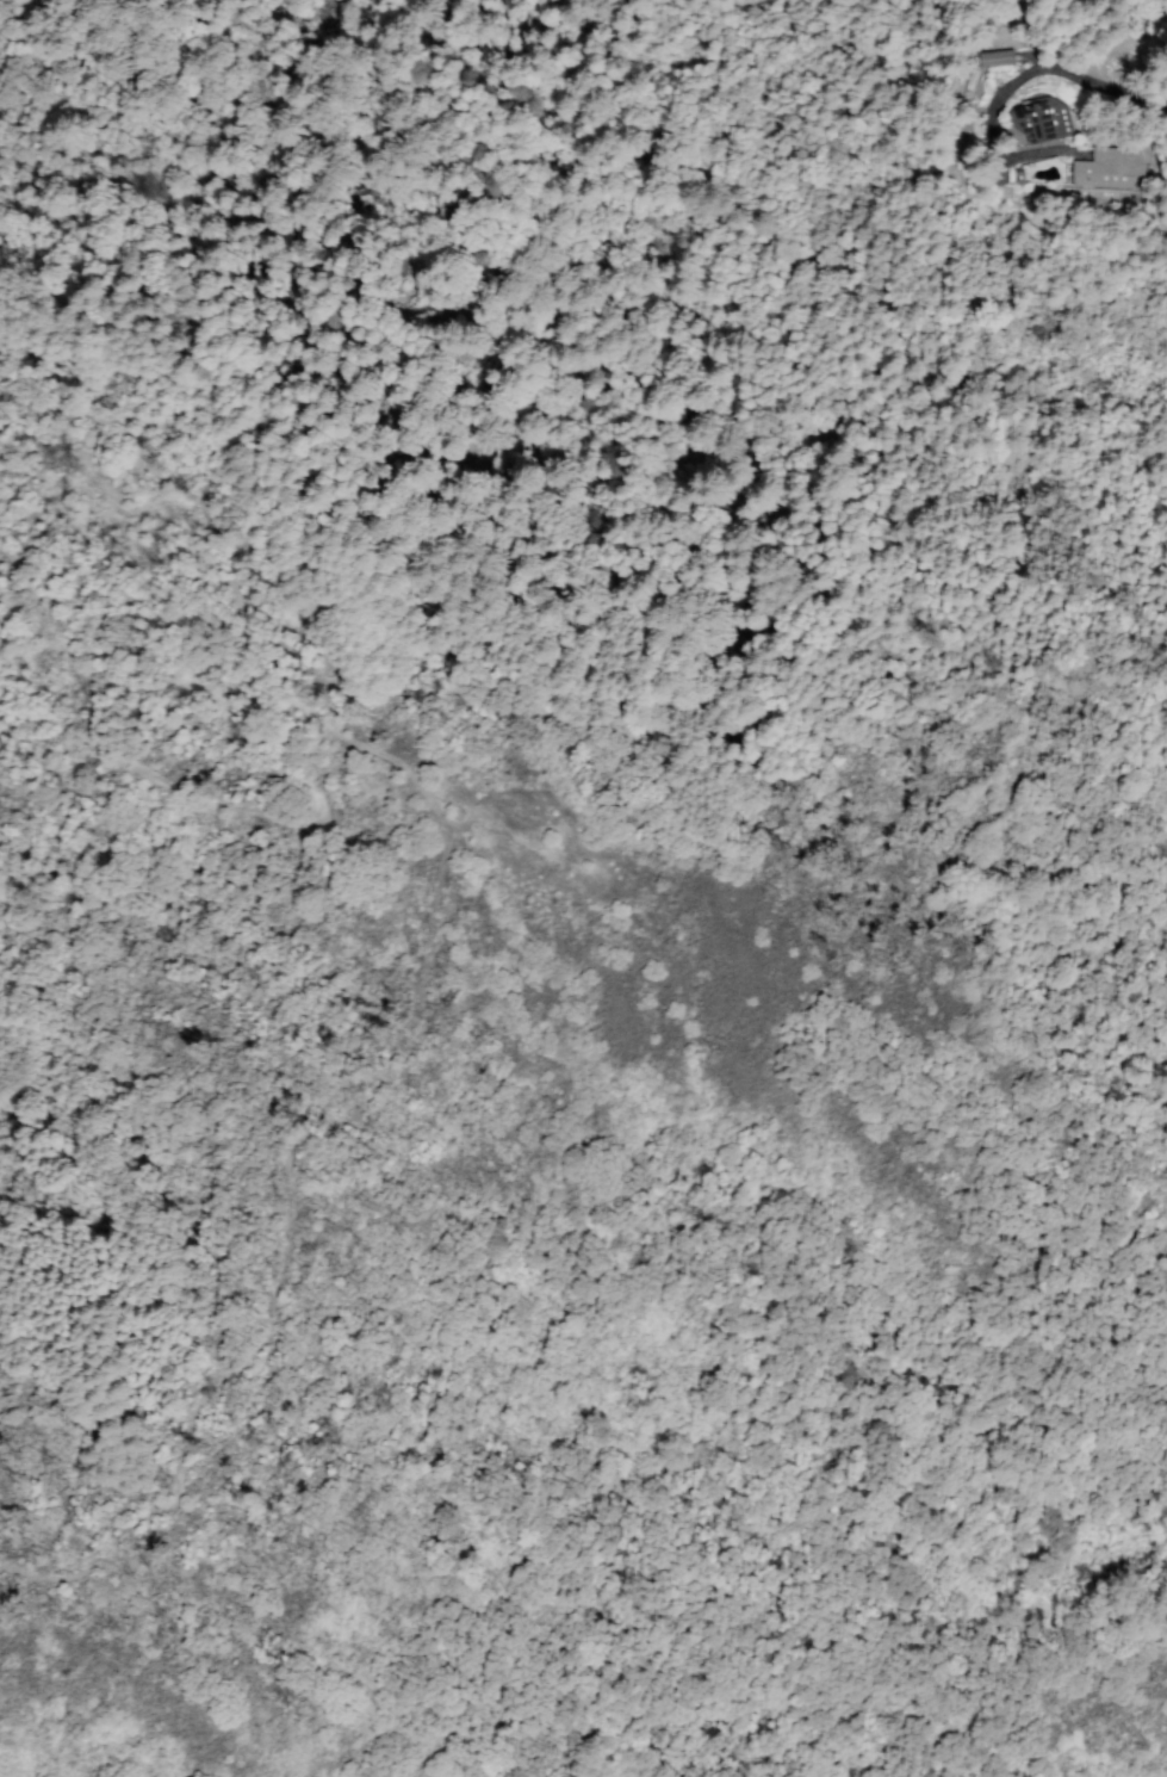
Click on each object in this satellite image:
building: (995, 57)
building: (999, 69)
building: (1044, 126)
building: (1113, 177)
building: (393, 744)
building: (470, 838)
road: (426, 951)

